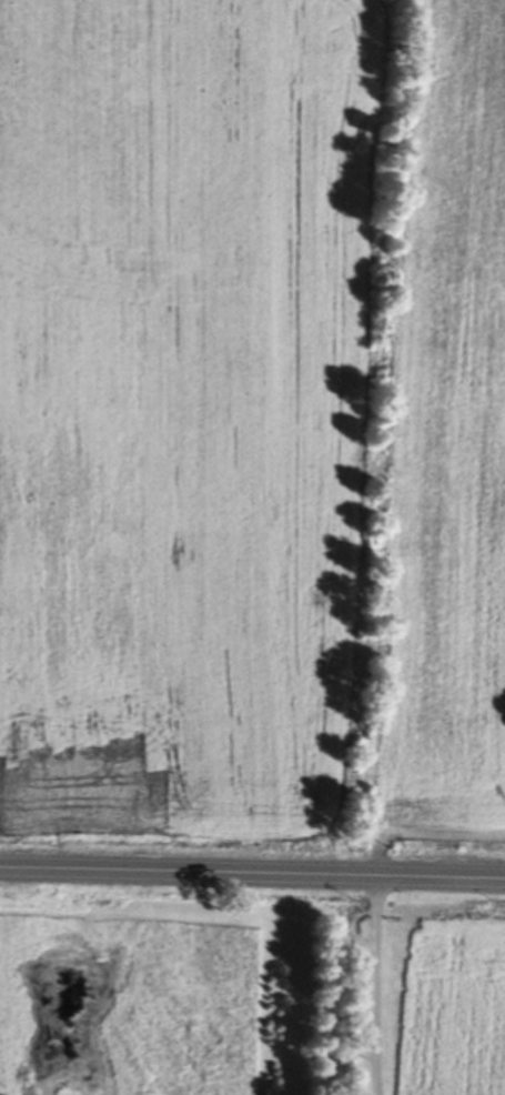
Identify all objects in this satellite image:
road: (252, 873)
road: (374, 985)

